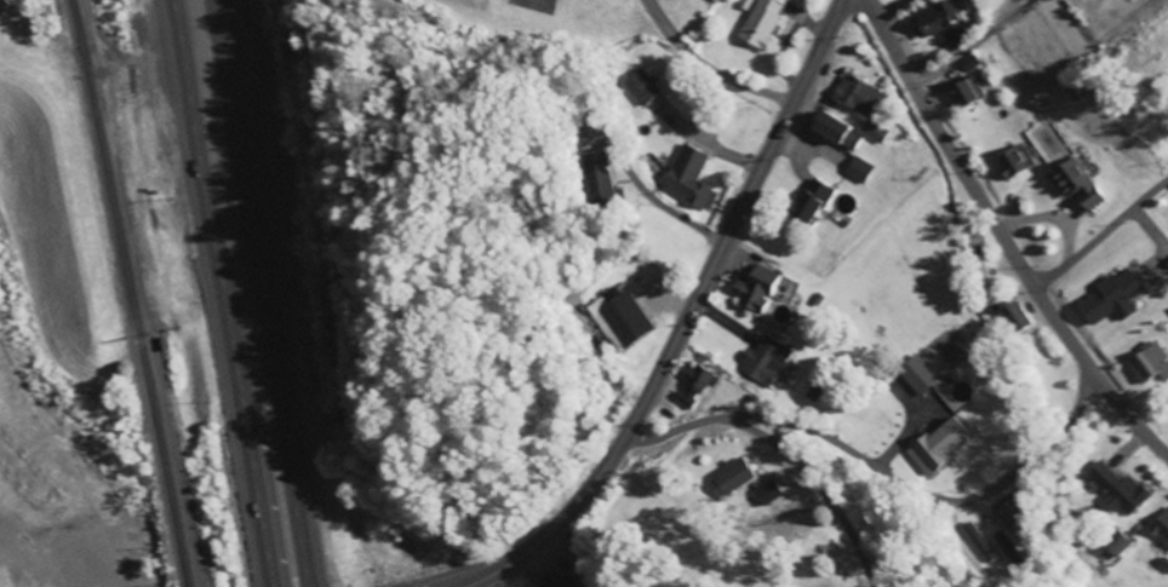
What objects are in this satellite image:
road: (893, 10)
building: (934, 18)
building: (761, 23)
building: (967, 63)
building: (640, 86)
building: (963, 91)
building: (855, 94)
building: (828, 127)
building: (874, 130)
building: (1012, 160)
building: (858, 169)
building: (687, 178)
building: (592, 179)
building: (1072, 184)
building: (811, 203)
road: (1101, 236)
road: (1002, 238)
building: (984, 280)
building: (754, 289)
railway: (133, 293)
road: (217, 293)
road: (262, 293)
building: (1110, 298)
building: (1013, 316)
building: (617, 320)
road: (681, 322)
building: (765, 361)
building: (1147, 363)
building: (917, 375)
building: (693, 386)
road: (1151, 410)
road: (780, 445)
building: (935, 447)
building: (731, 478)
building: (1117, 489)
building: (767, 493)
road: (928, 499)
building: (1013, 514)
building: (1160, 529)
building: (978, 542)
building: (1118, 545)
park: (6, 580)
building: (551, 581)

